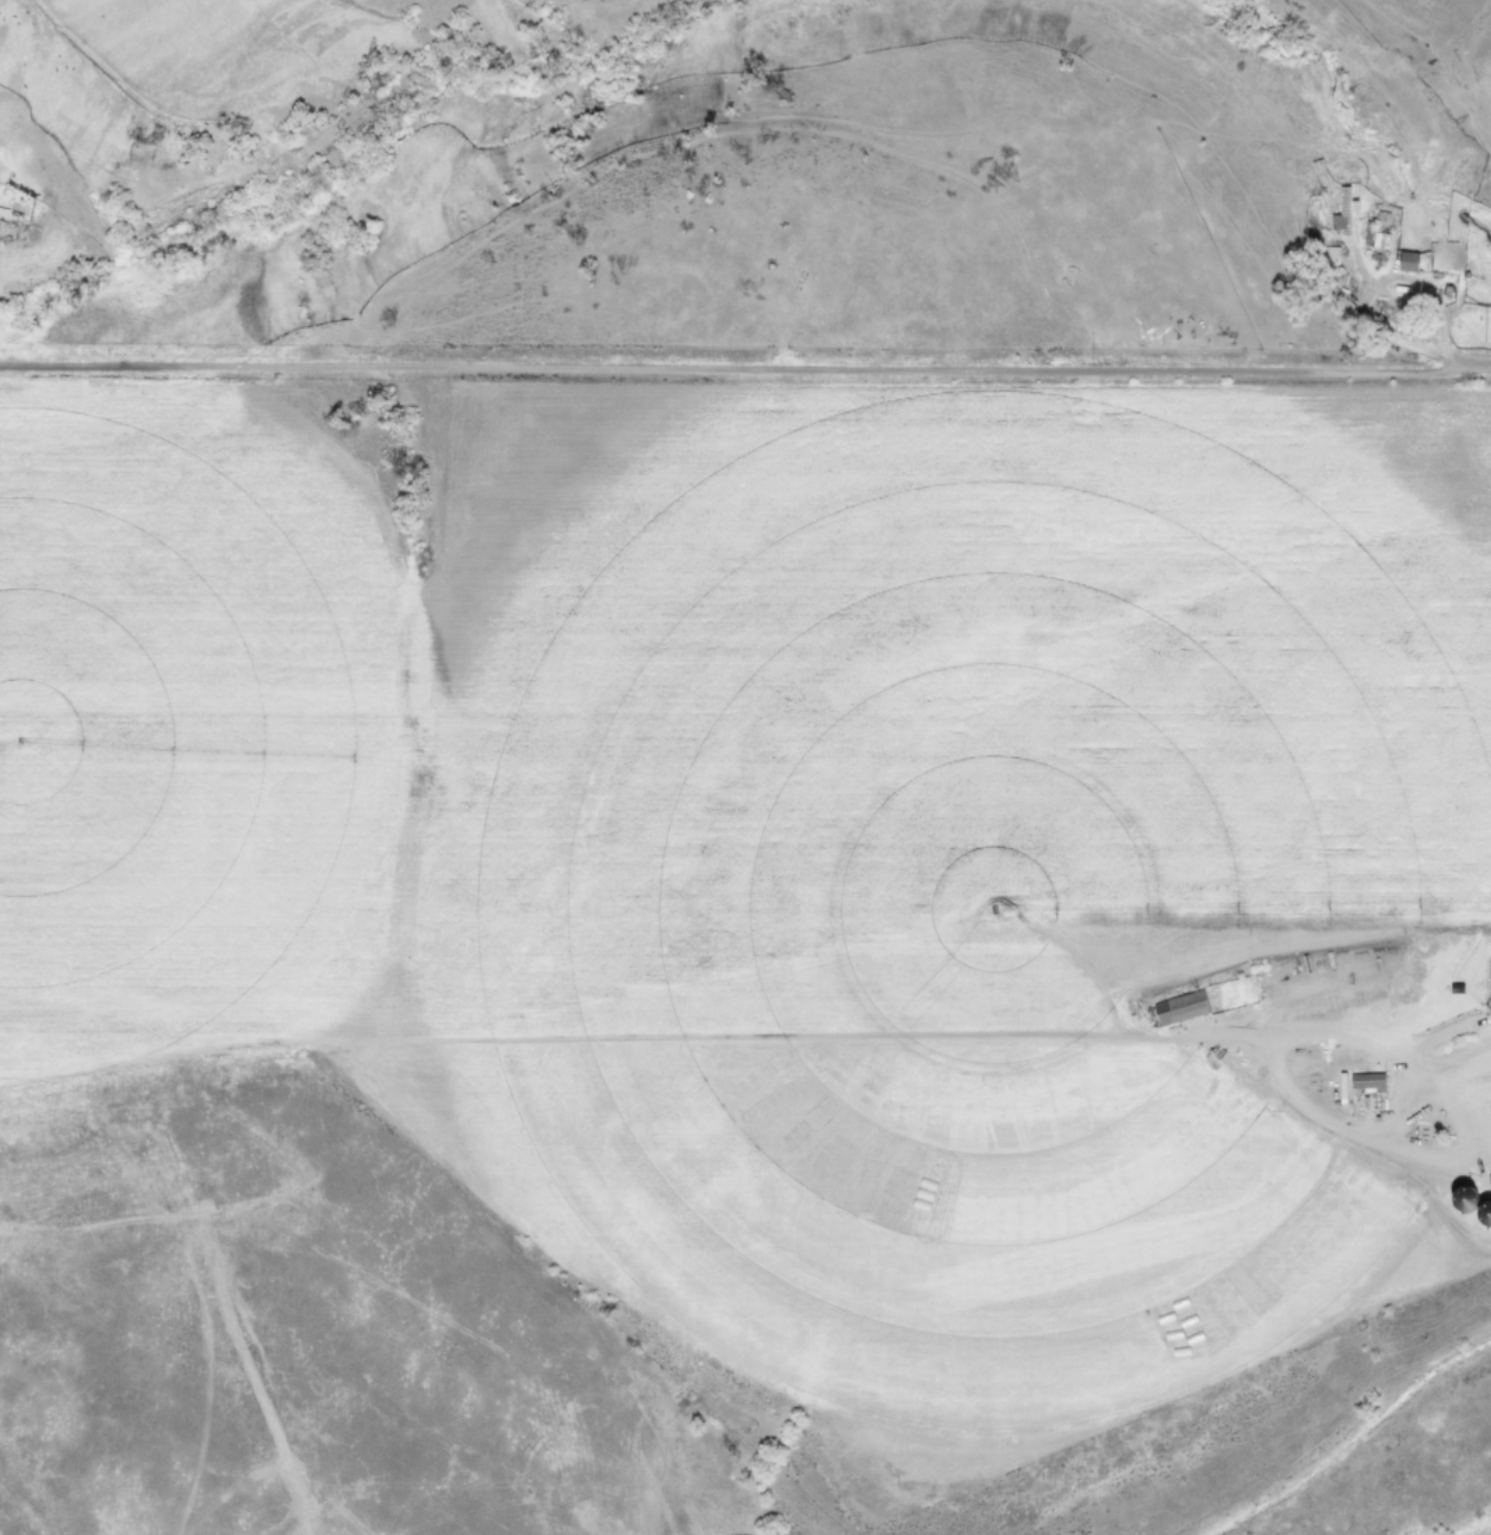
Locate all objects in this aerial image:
building: (1341, 213)
building: (1407, 261)
road: (745, 365)
building: (1490, 988)
building: (1180, 1007)
road: (747, 1038)
building: (1367, 1082)

